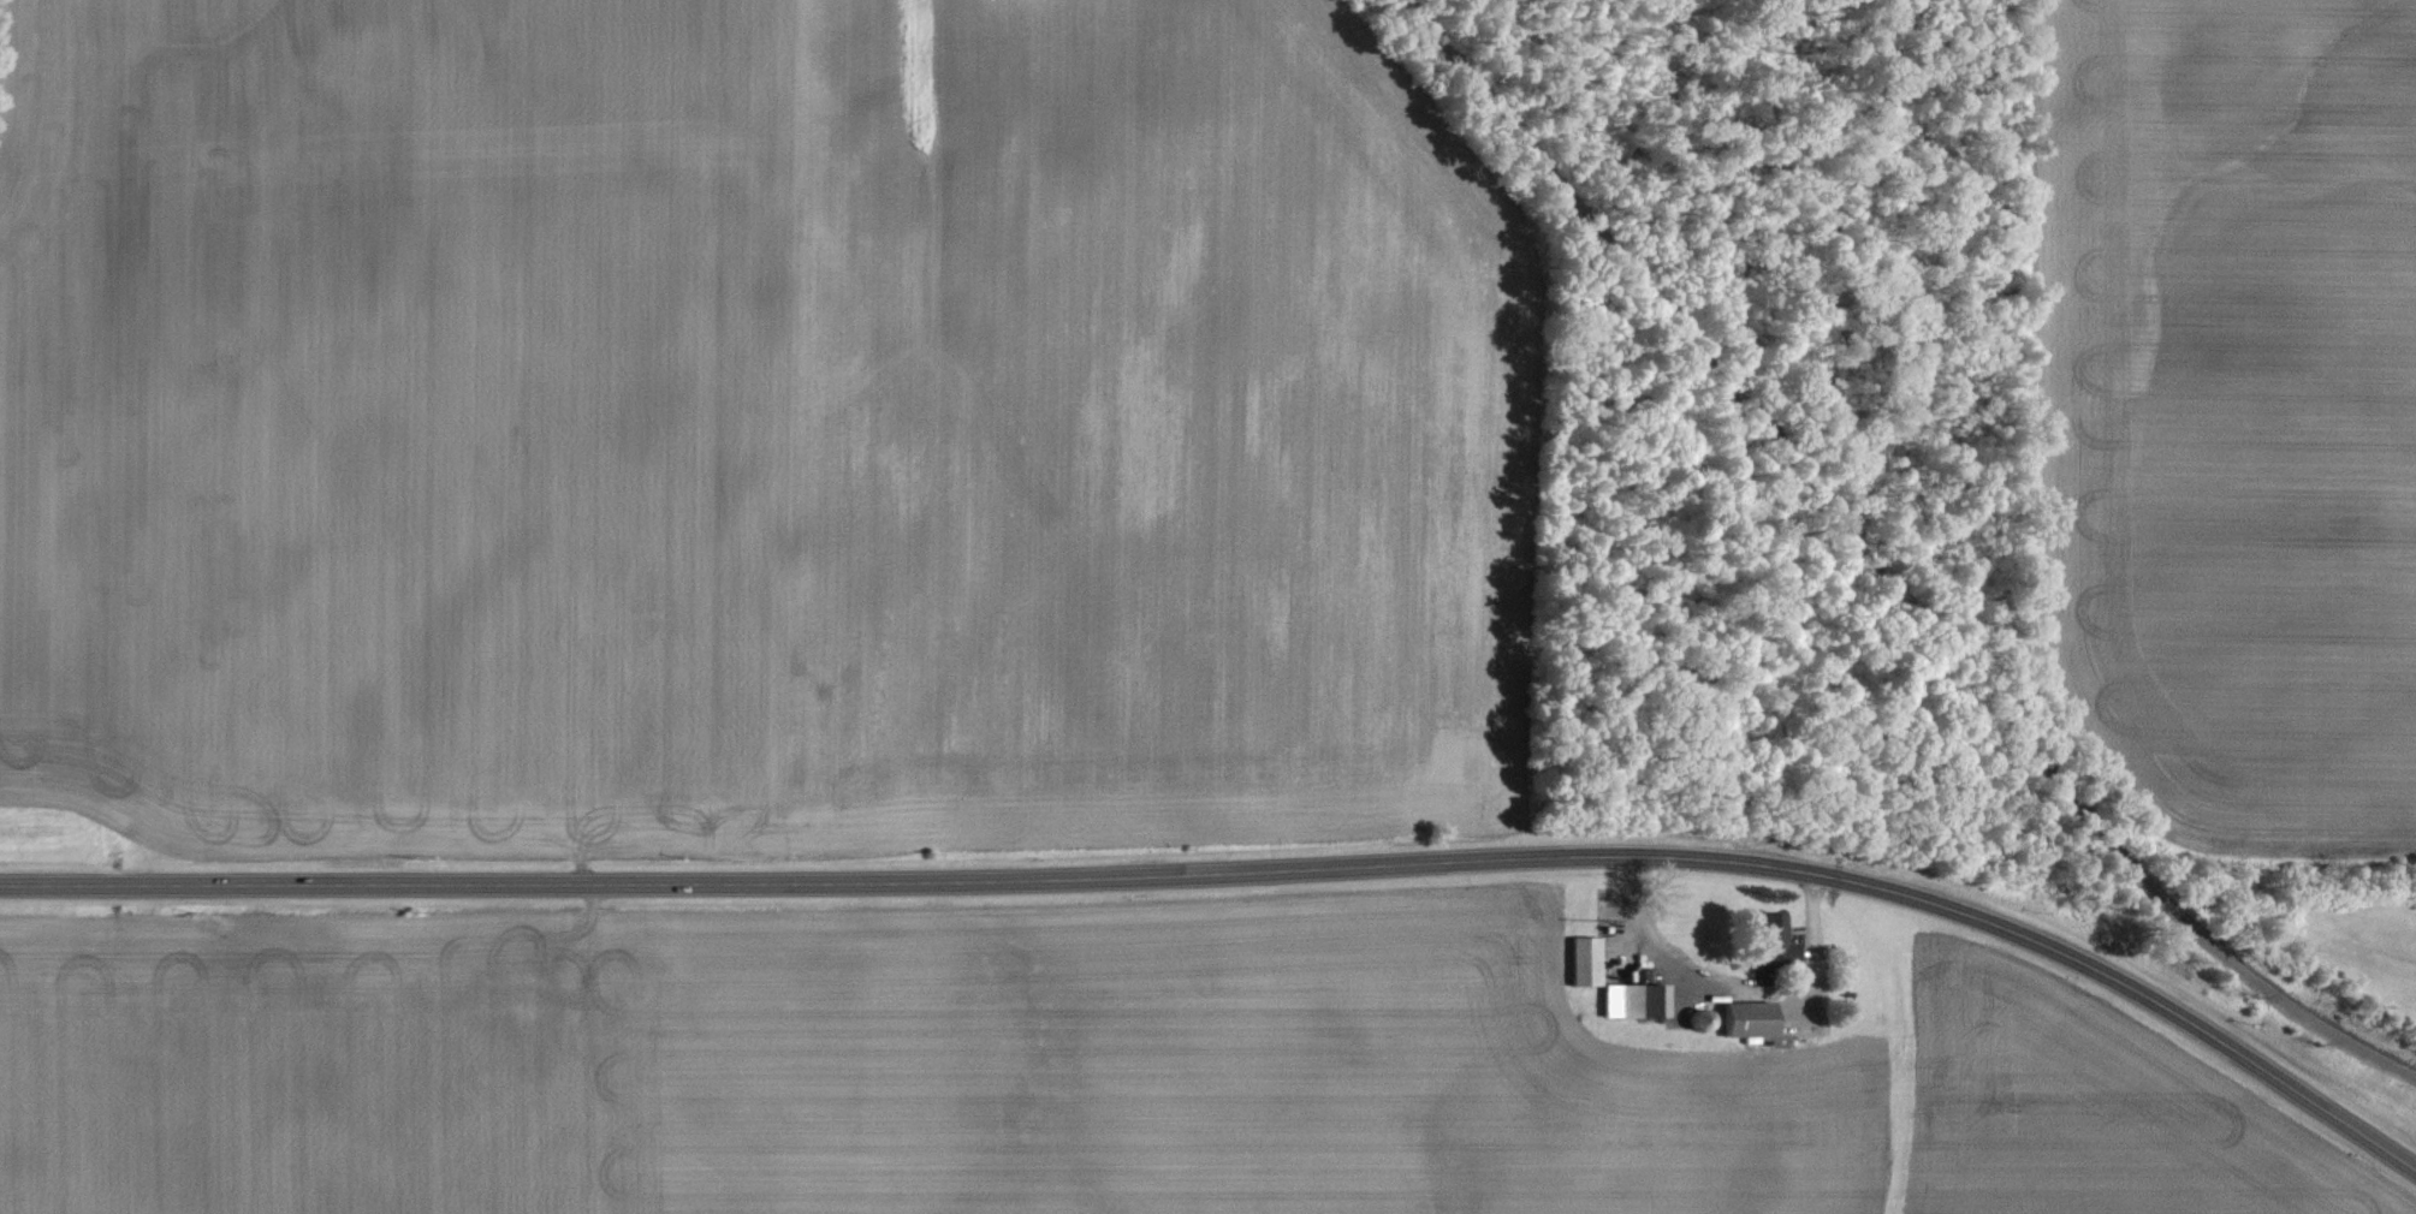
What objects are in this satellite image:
road: (1877, 572)
road: (1246, 871)
building: (1777, 930)
building: (1590, 960)
building: (1639, 1000)
building: (1753, 1020)

